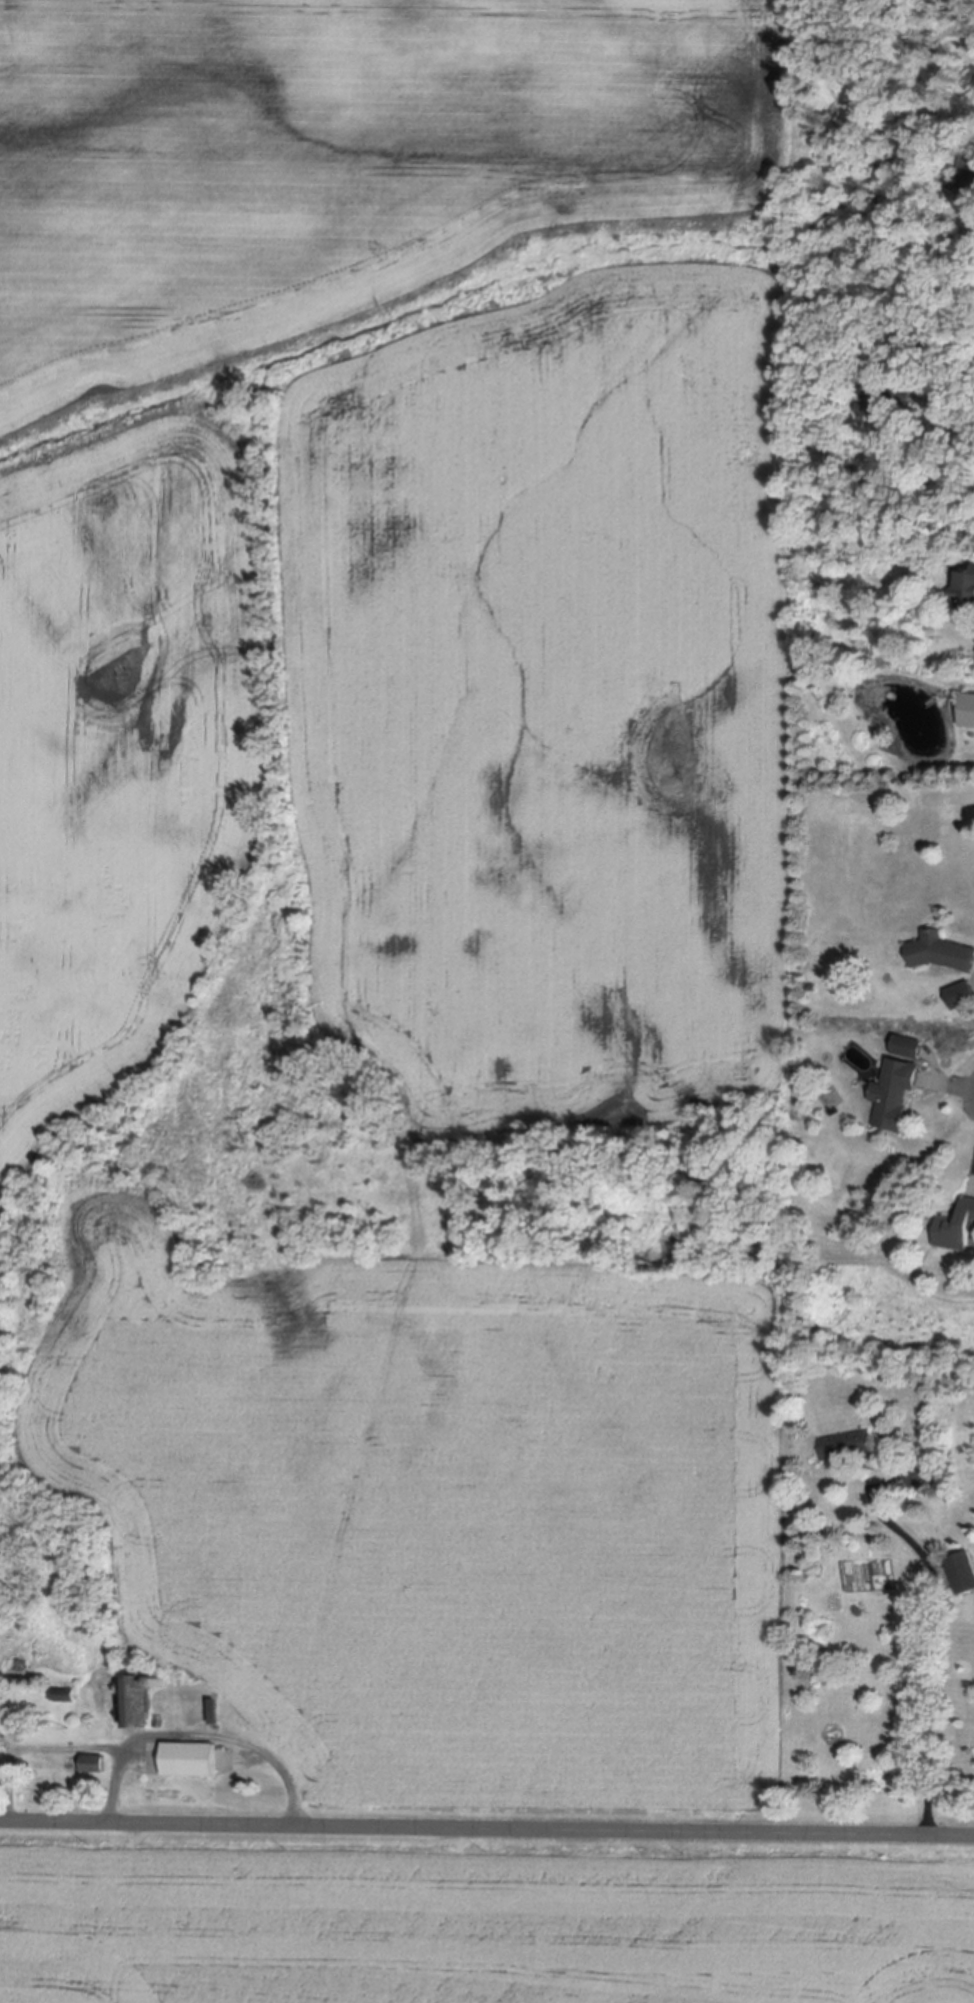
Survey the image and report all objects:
building: (925, 26)
building: (967, 179)
building: (910, 331)
building: (886, 397)
building: (965, 588)
building: (814, 616)
building: (968, 707)
building: (940, 950)
building: (811, 986)
building: (960, 993)
building: (908, 1045)
building: (894, 1092)
building: (956, 1226)
building: (846, 1445)
building: (917, 1474)
building: (962, 1572)
road: (930, 1652)
building: (160, 1681)
building: (62, 1694)
building: (137, 1702)
building: (214, 1711)
building: (159, 1721)
road: (196, 1735)
building: (1, 1741)
building: (190, 1759)
building: (93, 1763)
road: (486, 1829)

